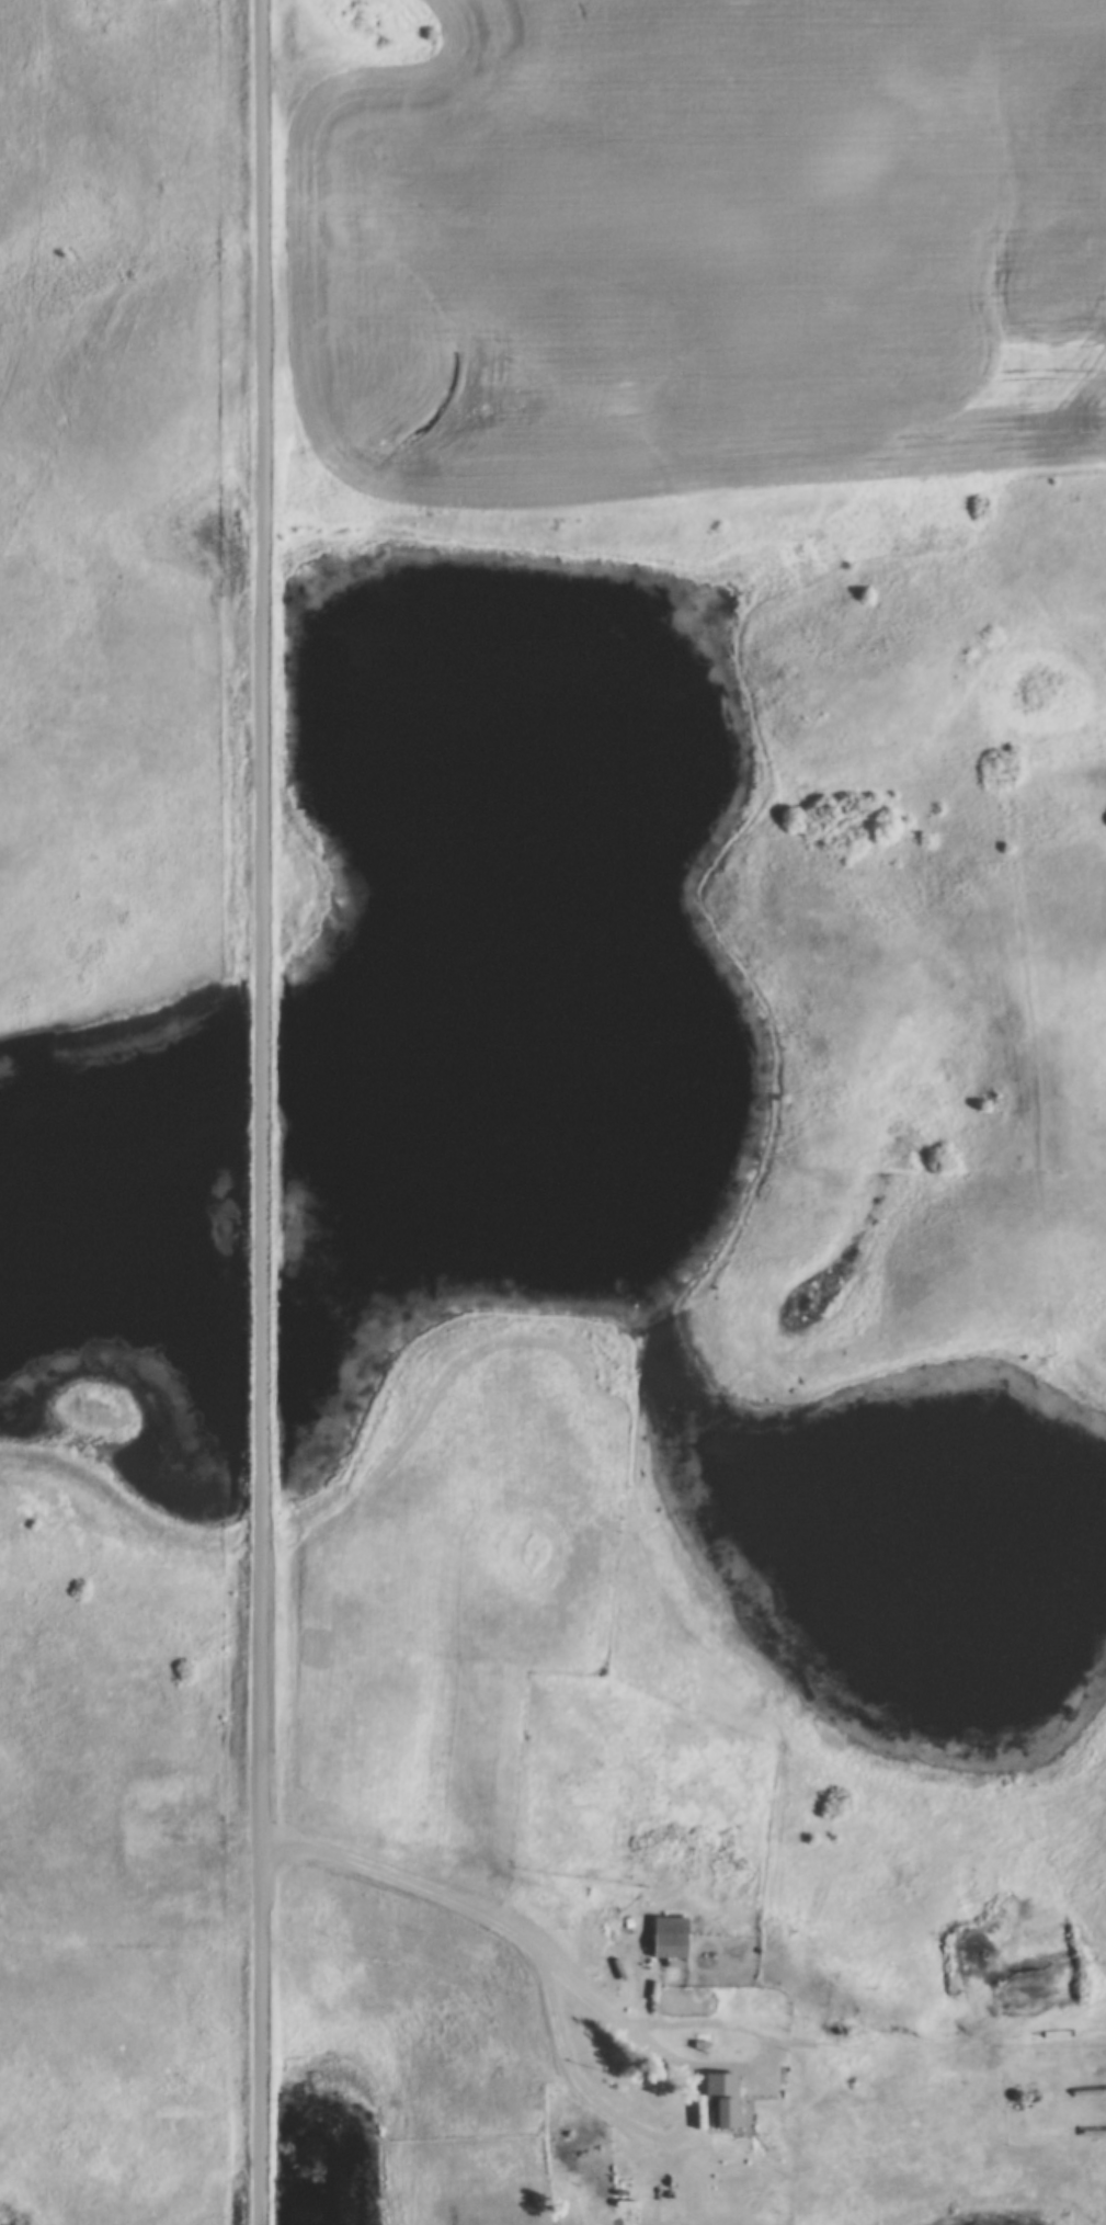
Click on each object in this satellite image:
road: (264, 1112)
road: (130, 1940)
building: (676, 1948)
road: (626, 2018)
building: (730, 2101)
building: (706, 2118)

